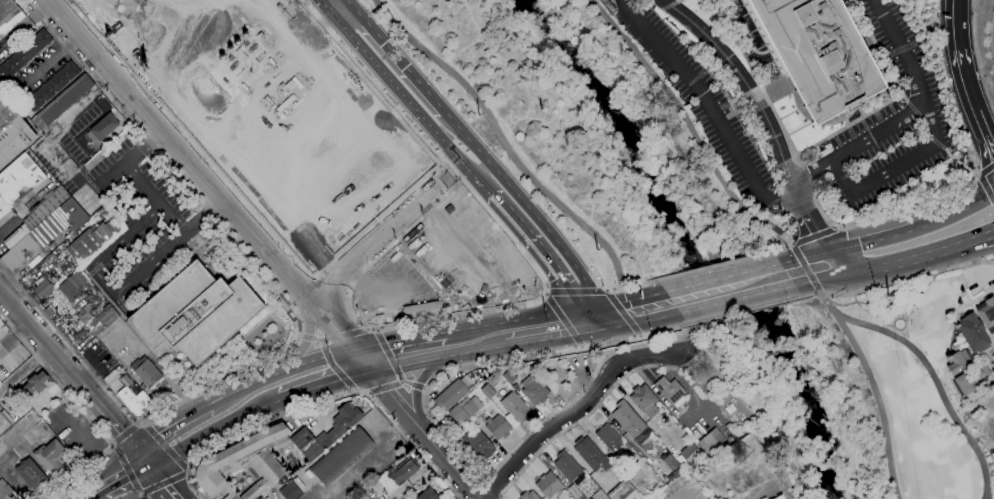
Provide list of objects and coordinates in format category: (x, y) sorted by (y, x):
road: (348, 1)
road: (666, 3)
road: (675, 3)
road: (327, 8)
road: (342, 9)
building: (9, 16)
road: (327, 21)
river: (544, 25)
road: (310, 37)
road: (187, 49)
road: (880, 51)
building: (25, 53)
building: (817, 54)
road: (397, 57)
road: (50, 59)
river: (578, 65)
road: (966, 78)
road: (757, 81)
building: (53, 85)
building: (0, 87)
building: (0, 88)
road: (777, 89)
building: (15, 90)
road: (752, 90)
parking lot: (699, 96)
road: (737, 98)
road: (754, 98)
road: (755, 99)
building: (62, 102)
building: (217, 105)
road: (412, 105)
road: (721, 106)
road: (711, 109)
road: (736, 110)
road: (860, 111)
power tower: (477, 114)
road: (908, 115)
road: (722, 119)
parking lot: (890, 123)
road: (849, 124)
road: (924, 126)
building: (104, 127)
road: (690, 127)
park: (588, 132)
building: (12, 133)
road: (162, 133)
road: (46, 136)
building: (345, 137)
road: (503, 143)
road: (429, 145)
road: (958, 162)
road: (125, 163)
road: (894, 167)
road: (987, 170)
road: (978, 174)
road: (808, 176)
building: (19, 185)
road: (986, 188)
road: (154, 199)
building: (338, 199)
road: (241, 200)
road: (527, 205)
road: (957, 211)
building: (38, 214)
building: (74, 214)
road: (890, 216)
building: (476, 223)
road: (835, 227)
building: (49, 228)
road: (818, 231)
road: (795, 233)
road: (125, 236)
road: (813, 236)
road: (988, 239)
building: (94, 240)
road: (875, 240)
road: (372, 241)
road: (169, 247)
road: (783, 247)
road: (537, 249)
traffic signals: (831, 251)
power tower: (599, 252)
building: (20, 254)
road: (816, 254)
road: (915, 259)
road: (790, 260)
road: (803, 262)
road: (839, 263)
road: (714, 266)
traffic signals: (847, 275)
road: (722, 277)
road: (831, 278)
road: (103, 280)
road: (296, 282)
road: (898, 282)
road: (804, 283)
river: (726, 284)
building: (75, 285)
road: (631, 285)
building: (47, 287)
building: (993, 287)
road: (576, 290)
power tower: (887, 295)
road: (634, 299)
road: (736, 299)
traffic signals: (604, 305)
road: (589, 307)
traffic signals: (575, 310)
building: (49, 311)
road: (744, 311)
building: (196, 312)
road: (623, 312)
building: (987, 314)
road: (297, 315)
road: (611, 315)
road: (530, 317)
building: (97, 319)
road: (582, 320)
road: (648, 320)
road: (562, 321)
road: (361, 322)
building: (1, 323)
traffic signals: (618, 326)
road: (367, 328)
road: (603, 328)
road: (32, 329)
road: (376, 330)
traffic signals: (589, 331)
building: (973, 333)
flagpole: (292, 334)
road: (343, 335)
road: (302, 336)
road: (420, 336)
road: (313, 338)
road: (548, 338)
road: (308, 340)
road: (991, 349)
traffic signals: (354, 350)
road: (391, 357)
road: (438, 357)
building: (959, 361)
road: (301, 364)
road: (334, 366)
road: (927, 367)
traffic signals: (371, 370)
building: (145, 371)
road: (25, 373)
building: (978, 374)
building: (509, 376)
road: (56, 379)
road: (420, 380)
road: (325, 383)
building: (36, 384)
road: (414, 384)
building: (963, 384)
road: (388, 386)
road: (426, 388)
building: (534, 390)
road: (354, 391)
building: (671, 391)
park: (853, 391)
building: (488, 392)
road: (370, 393)
road: (230, 394)
building: (451, 394)
road: (425, 395)
road: (971, 396)
building: (134, 398)
road: (395, 398)
building: (645, 400)
road: (323, 402)
road: (877, 404)
building: (515, 406)
road: (596, 407)
building: (463, 411)
road: (572, 411)
road: (104, 412)
building: (630, 421)
road: (170, 424)
building: (340, 424)
road: (136, 425)
road: (144, 426)
building: (497, 427)
road: (212, 431)
road: (124, 434)
building: (609, 437)
building: (710, 441)
road: (114, 444)
building: (479, 444)
road: (114, 447)
road: (167, 448)
building: (591, 454)
building: (687, 454)
building: (50, 455)
building: (341, 457)
traffic signals: (143, 458)
building: (254, 461)
building: (567, 466)
road: (128, 470)
road: (188, 470)
road: (82, 472)
building: (31, 473)
road: (118, 475)
road: (188, 475)
building: (397, 475)
road: (160, 478)
road: (164, 483)
road: (495, 483)
building: (548, 485)
building: (621, 490)
building: (7, 491)
building: (289, 491)
building: (574, 491)
road: (140, 493)
road: (142, 493)
building: (428, 494)
road: (86, 495)
building: (362, 495)
building: (529, 495)
road: (142, 496)
road: (986, 496)
road: (175, 497)
building: (779, 497)
building: (256, 498)
building: (260, 498)

